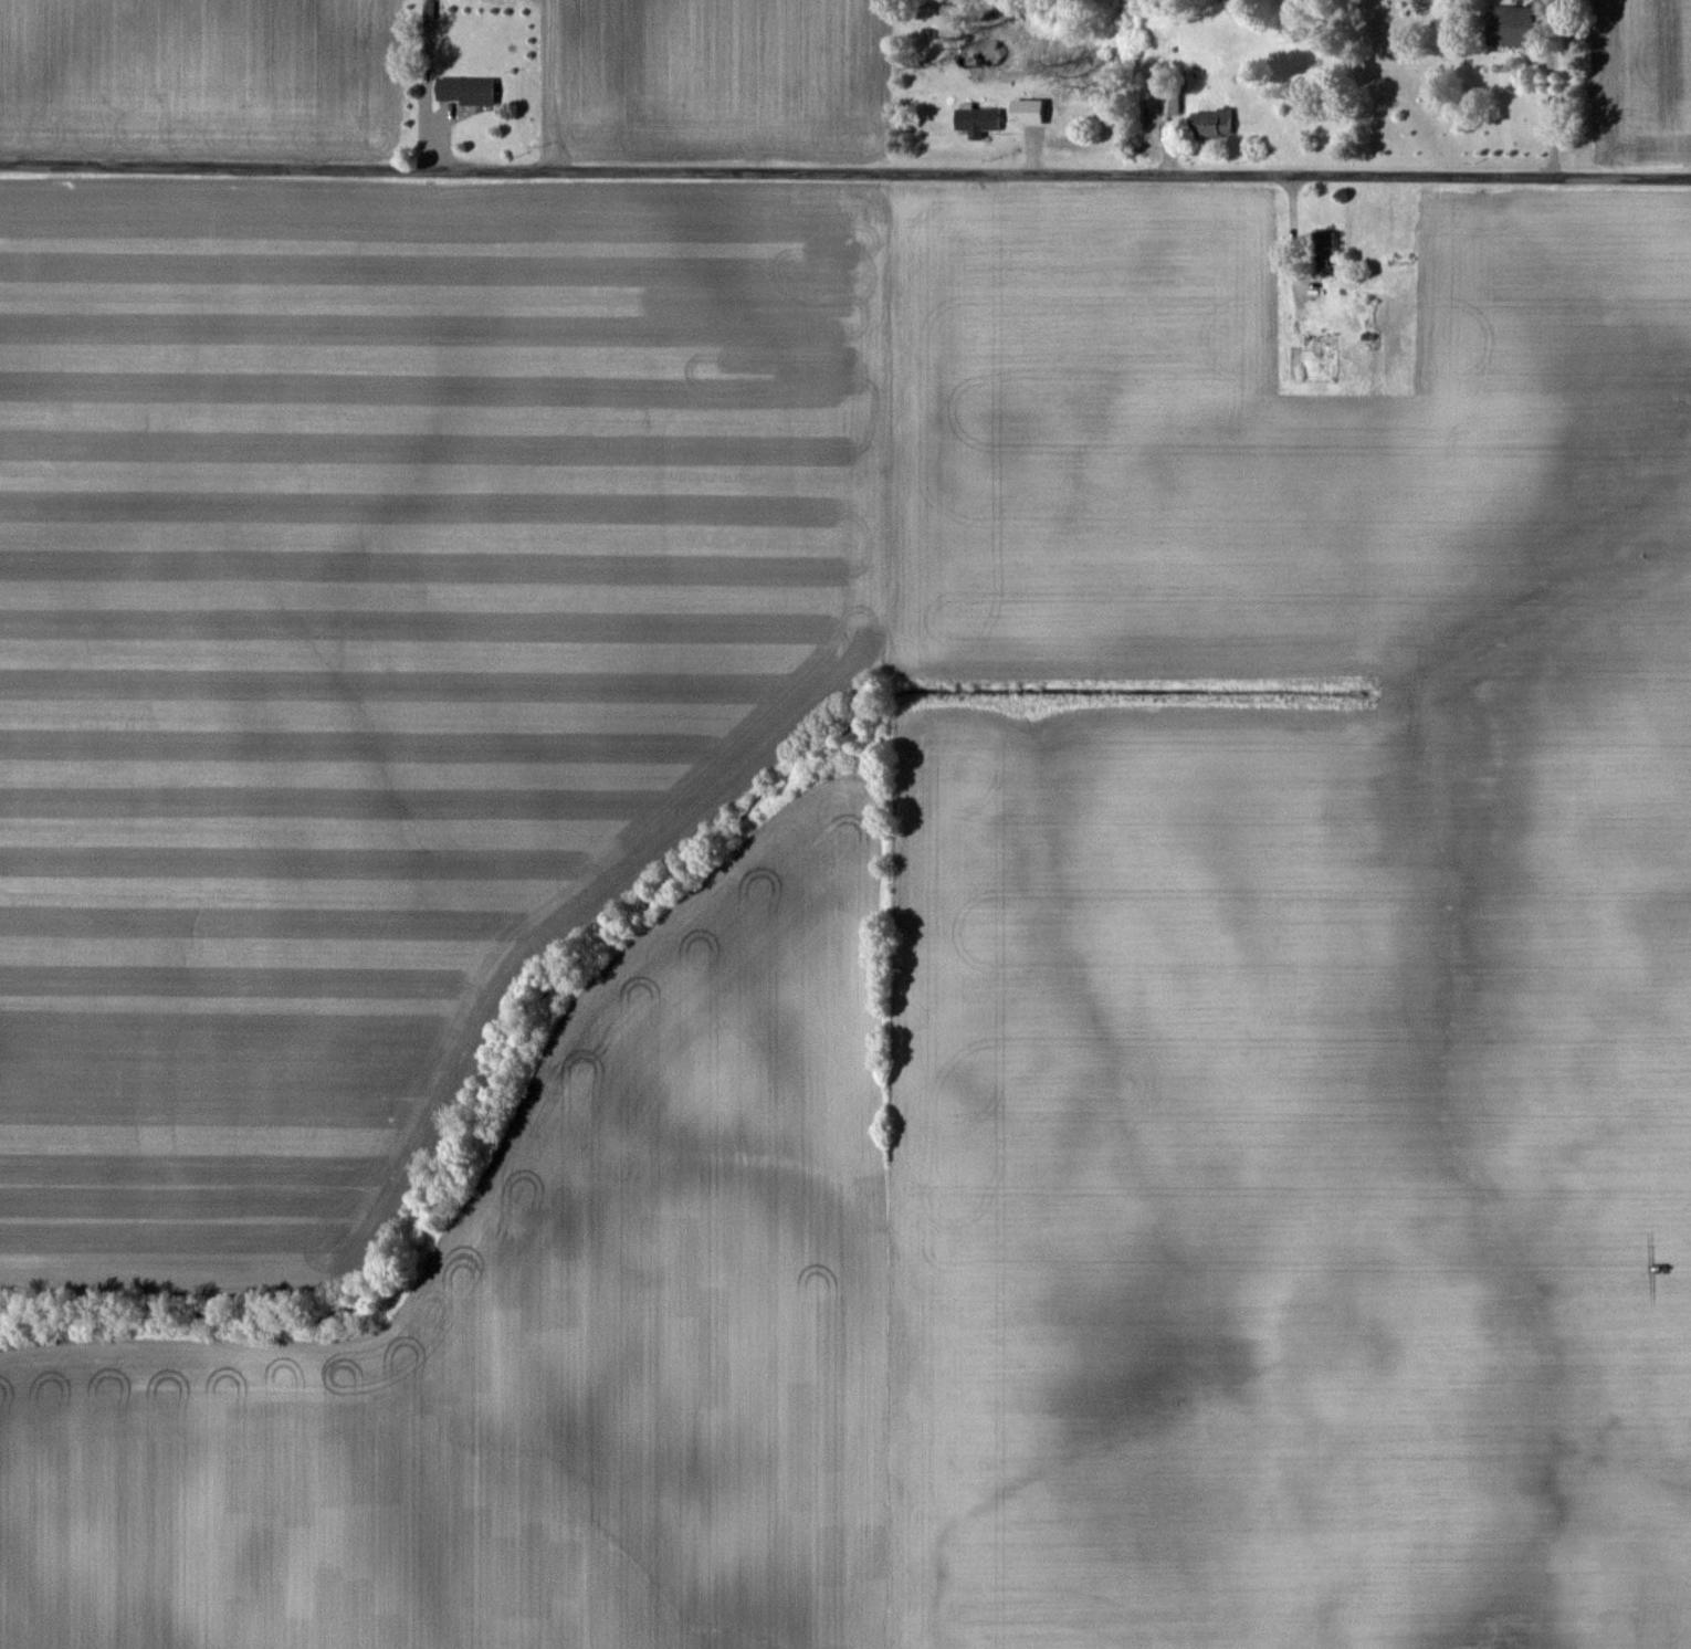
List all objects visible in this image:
building: (1506, 25)
building: (463, 90)
road: (543, 90)
building: (1169, 105)
road: (419, 106)
road: (1553, 107)
building: (1025, 111)
building: (975, 120)
building: (1209, 123)
road: (844, 180)
road: (1293, 243)
building: (1321, 245)

